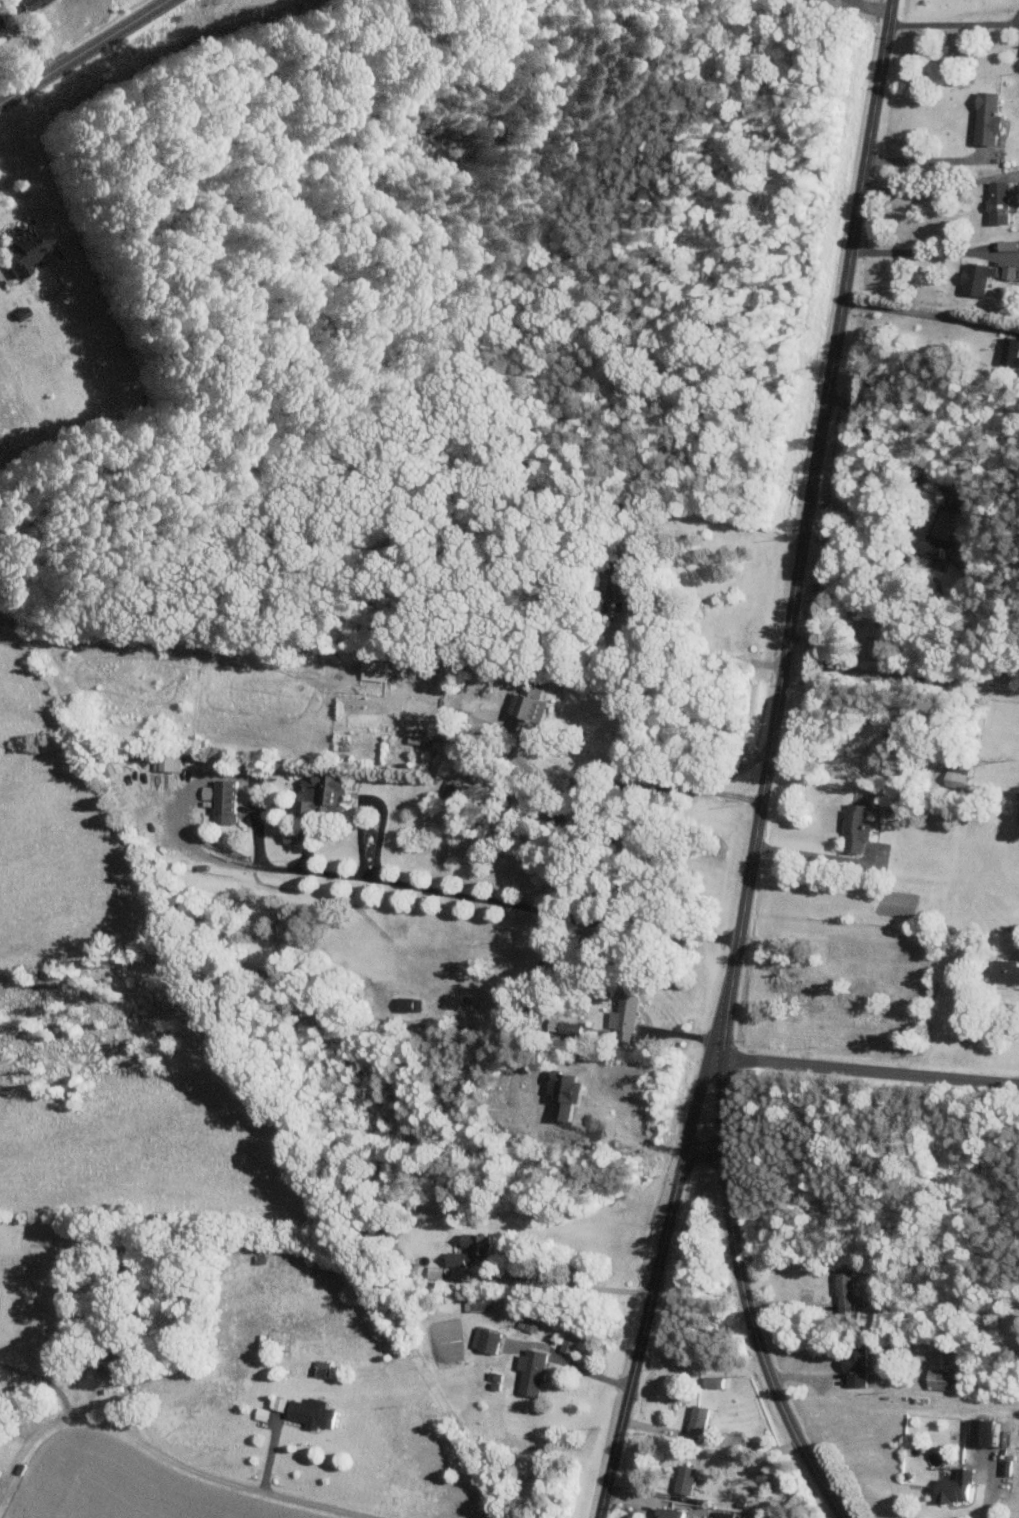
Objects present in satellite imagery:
building: (809, 0)
building: (36, 3)
road: (953, 23)
building: (2, 24)
building: (6, 47)
road: (85, 52)
building: (983, 118)
road: (931, 159)
road: (927, 188)
building: (995, 202)
building: (34, 249)
road: (914, 251)
building: (1006, 272)
building: (973, 278)
road: (920, 312)
building: (1008, 351)
road: (905, 451)
building: (939, 533)
road: (687, 656)
road: (829, 660)
building: (373, 669)
building: (525, 708)
building: (165, 762)
road: (527, 767)
road: (766, 768)
building: (954, 778)
road: (713, 784)
building: (319, 792)
road: (369, 796)
building: (220, 799)
building: (1017, 814)
building: (853, 827)
building: (289, 836)
road: (810, 853)
road: (420, 888)
building: (1004, 971)
building: (406, 1003)
building: (623, 1017)
road: (867, 1070)
road: (632, 1141)
building: (470, 1250)
road: (653, 1283)
road: (560, 1285)
building: (842, 1290)
building: (484, 1340)
building: (852, 1362)
road: (568, 1363)
building: (528, 1371)
building: (938, 1376)
road: (43, 1380)
building: (710, 1381)
building: (277, 1403)
building: (309, 1412)
building: (259, 1413)
building: (696, 1418)
building: (977, 1432)
road: (170, 1457)
building: (682, 1479)
building: (952, 1487)
road: (989, 1494)
building: (667, 1513)

